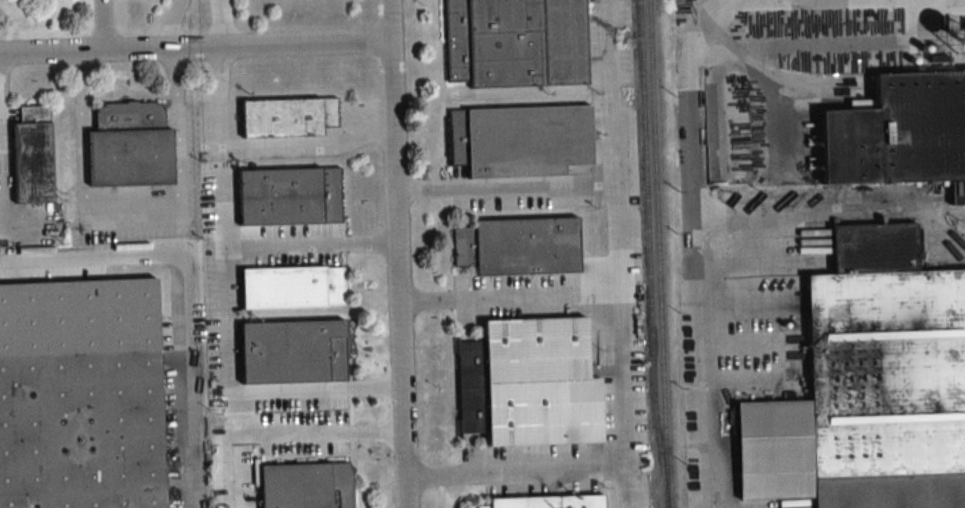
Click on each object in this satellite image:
road: (705, 4)
road: (705, 13)
road: (207, 25)
road: (99, 27)
power tower: (625, 40)
building: (516, 43)
road: (195, 51)
road: (604, 93)
building: (288, 117)
building: (521, 140)
building: (906, 141)
building: (130, 145)
road: (261, 147)
building: (33, 155)
road: (506, 187)
building: (290, 196)
road: (131, 214)
road: (10, 237)
railway: (647, 243)
road: (276, 244)
building: (519, 245)
road: (397, 254)
railway: (658, 254)
building: (293, 286)
road: (190, 289)
road: (509, 296)
road: (621, 347)
building: (294, 351)
road: (705, 372)
building: (530, 383)
building: (870, 384)
road: (243, 389)
road: (312, 430)
building: (82, 431)
road: (515, 468)
building: (306, 485)
building: (548, 501)

